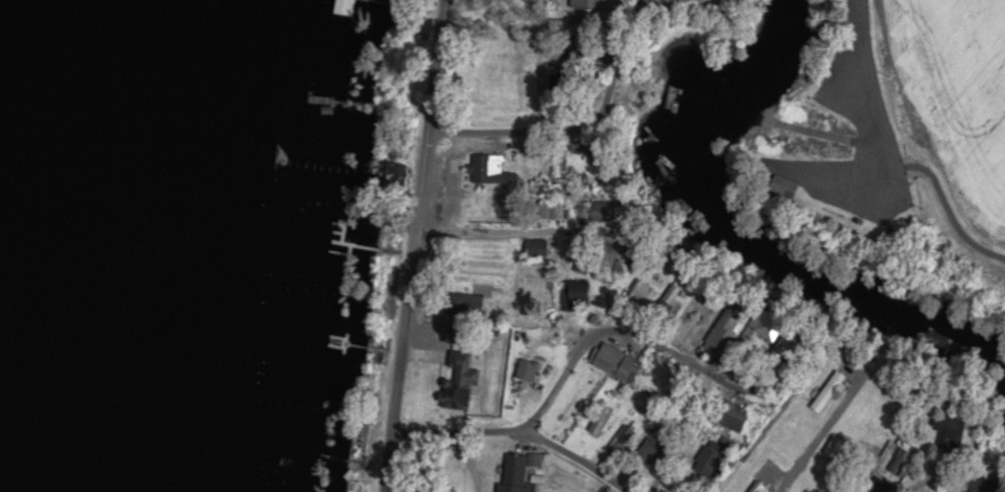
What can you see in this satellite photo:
building: (586, 4)
building: (344, 8)
road: (878, 77)
road: (499, 131)
building: (582, 147)
building: (491, 171)
building: (388, 174)
building: (556, 189)
building: (606, 211)
building: (546, 212)
road: (509, 229)
road: (414, 245)
building: (535, 248)
building: (672, 295)
building: (574, 296)
building: (465, 306)
building: (727, 327)
building: (769, 327)
road: (617, 330)
building: (785, 343)
building: (945, 345)
building: (616, 363)
building: (527, 371)
building: (459, 382)
building: (732, 417)
building: (600, 420)
road: (518, 430)
building: (949, 432)
building: (621, 441)
building: (905, 452)
building: (650, 454)
building: (709, 459)
building: (517, 472)
road: (920, 482)
building: (992, 485)
building: (876, 486)

